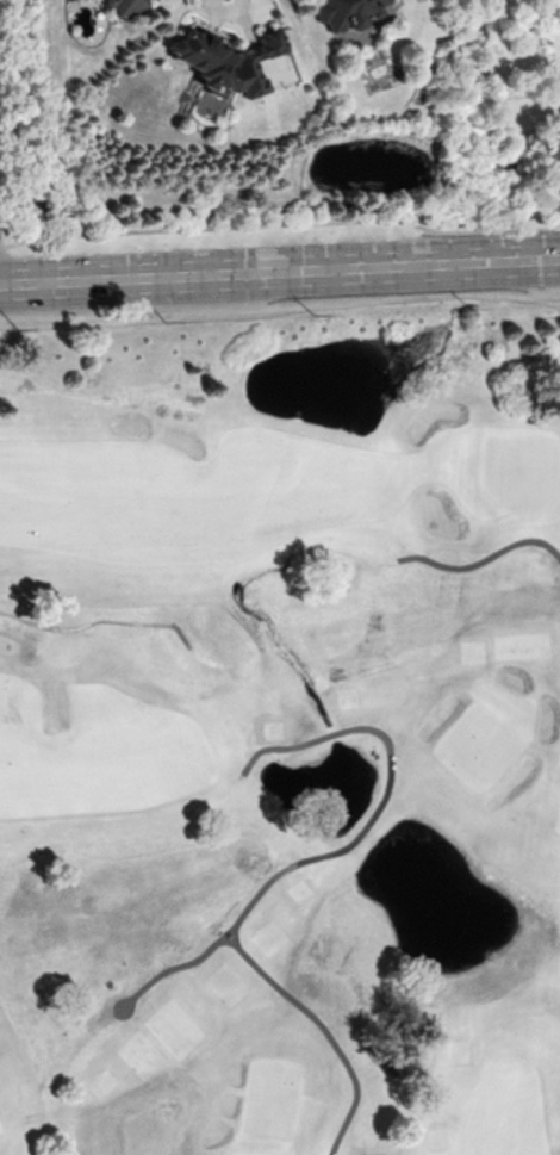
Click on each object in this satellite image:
building: (126, 5)
building: (346, 14)
building: (225, 64)
road: (281, 224)
road: (280, 273)
road: (483, 559)
park: (280, 732)
road: (284, 871)
road: (231, 937)
road: (163, 973)

